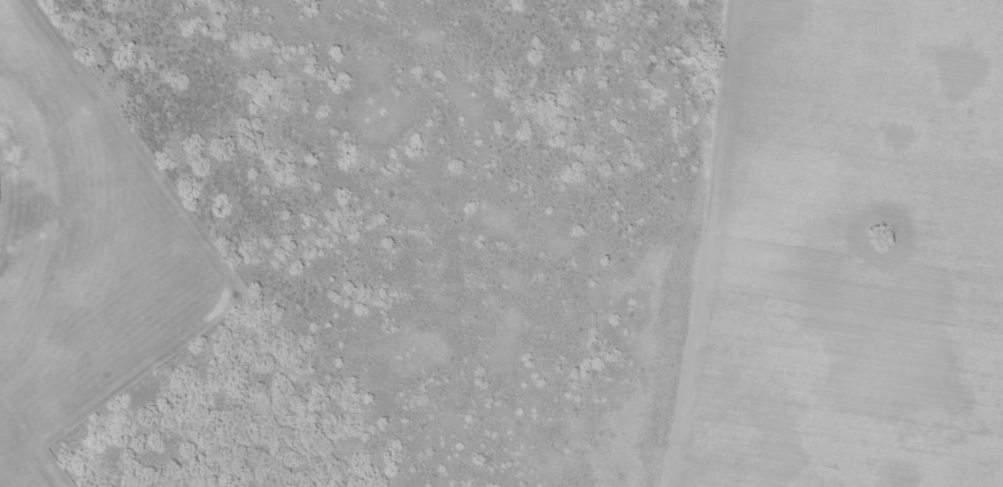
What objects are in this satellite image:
road: (879, 16)
road: (803, 250)
airport: (81, 252)

